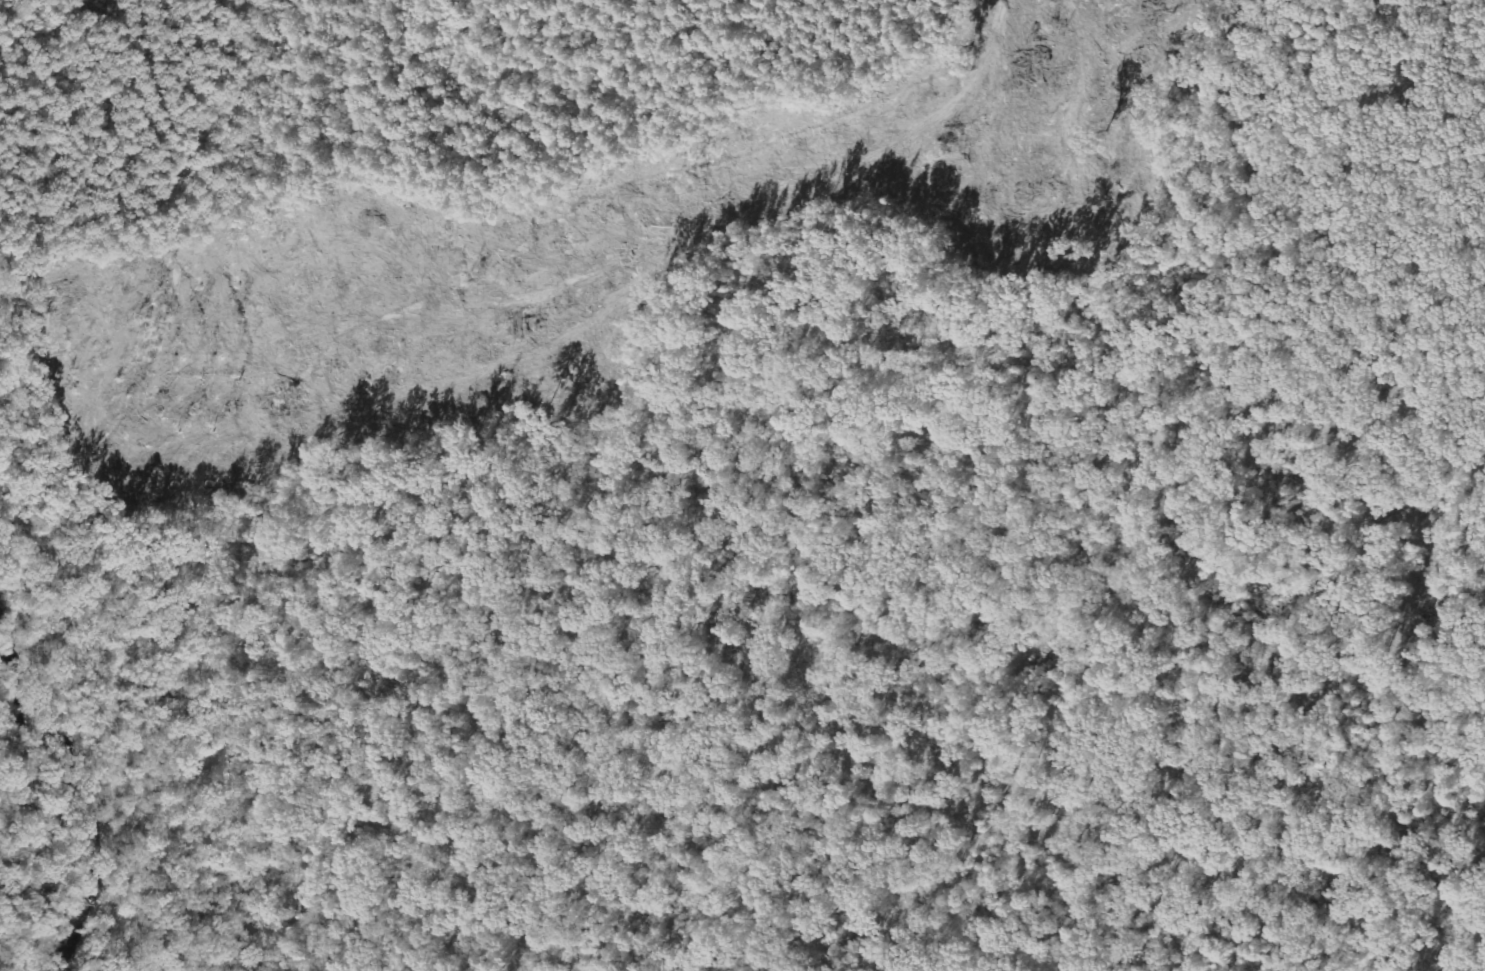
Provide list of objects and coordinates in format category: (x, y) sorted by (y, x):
river: (82, 791)

